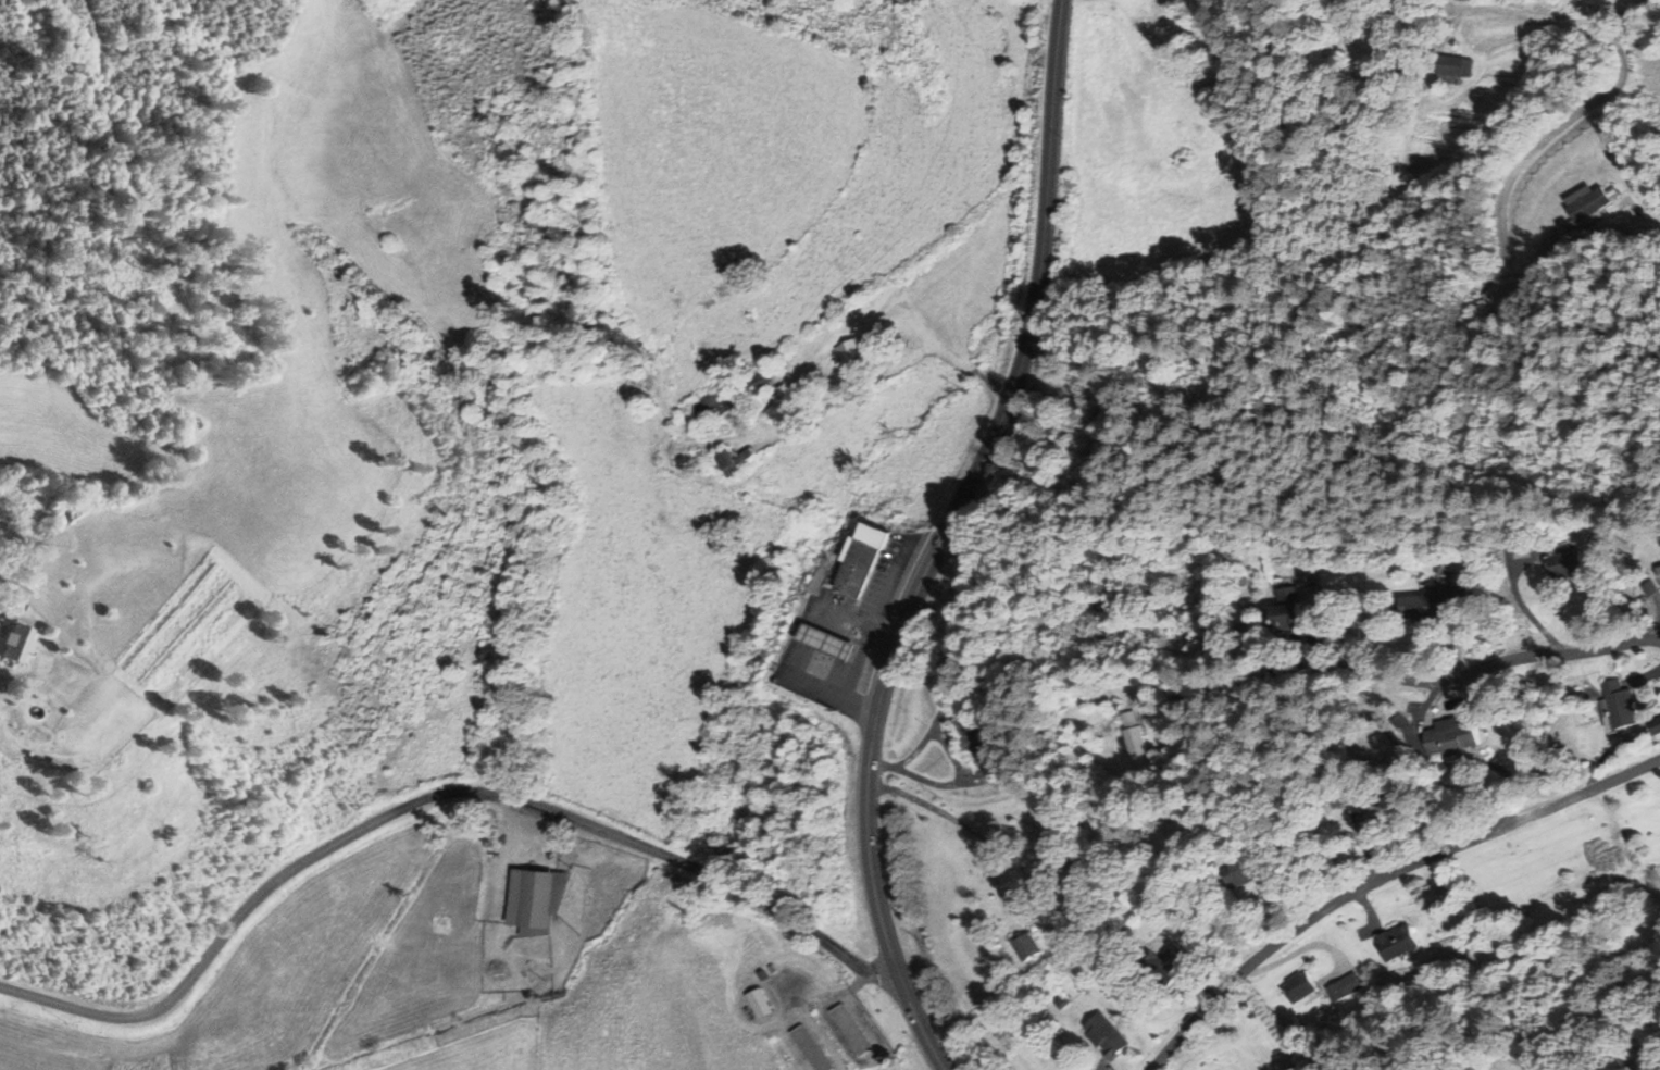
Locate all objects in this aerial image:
road: (1540, 15)
building: (1456, 66)
building: (1587, 207)
road: (1040, 267)
building: (854, 351)
building: (719, 401)
building: (736, 460)
building: (858, 559)
building: (1562, 563)
building: (1658, 573)
building: (1432, 600)
building: (1284, 608)
building: (20, 642)
building: (808, 650)
road: (1422, 665)
building: (1617, 705)
building: (1128, 718)
building: (1655, 725)
building: (1449, 736)
building: (1134, 741)
road: (432, 791)
road: (866, 795)
building: (1372, 810)
building: (1232, 873)
road: (1381, 879)
building: (540, 897)
building: (542, 931)
building: (1395, 942)
building: (1025, 945)
building: (1298, 986)
building: (1343, 986)
building: (758, 1003)
building: (849, 1029)
building: (1103, 1035)
building: (810, 1048)

